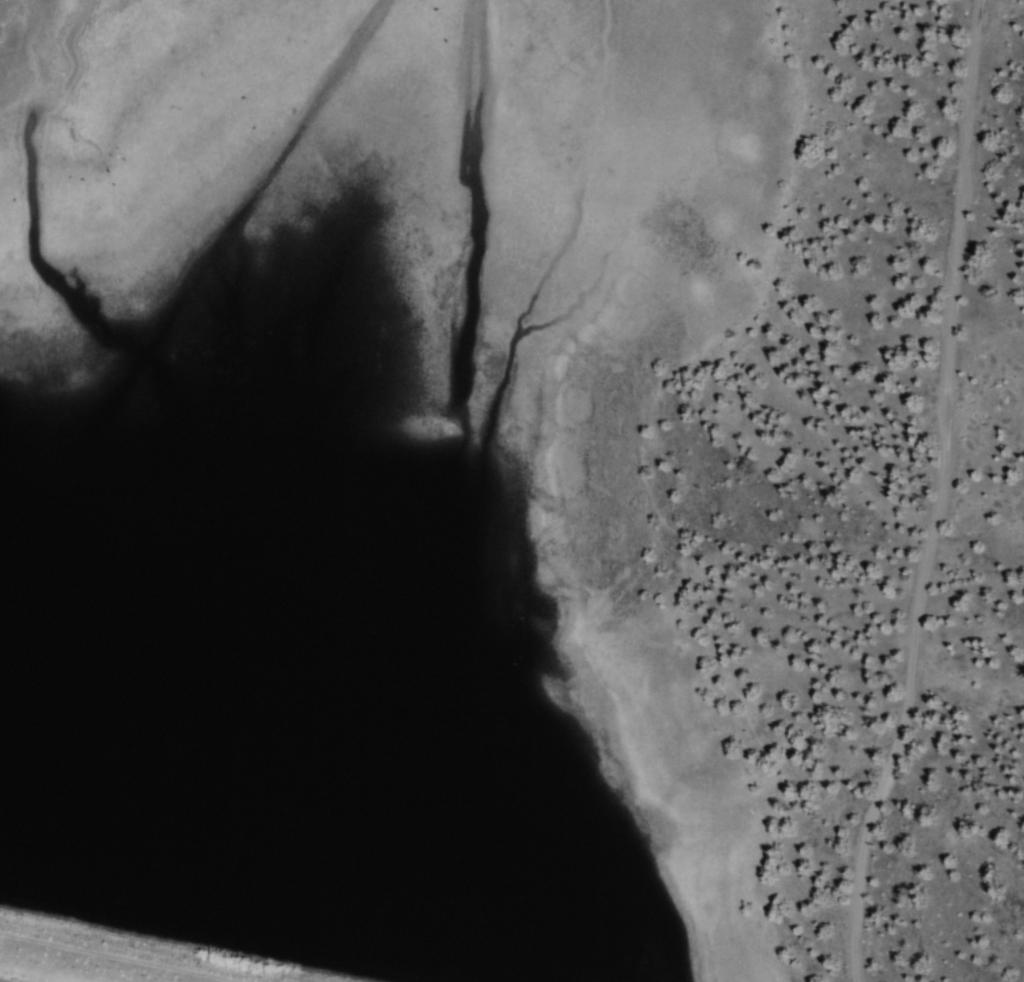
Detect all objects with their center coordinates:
road: (942, 494)
dam: (148, 950)
road: (117, 957)

